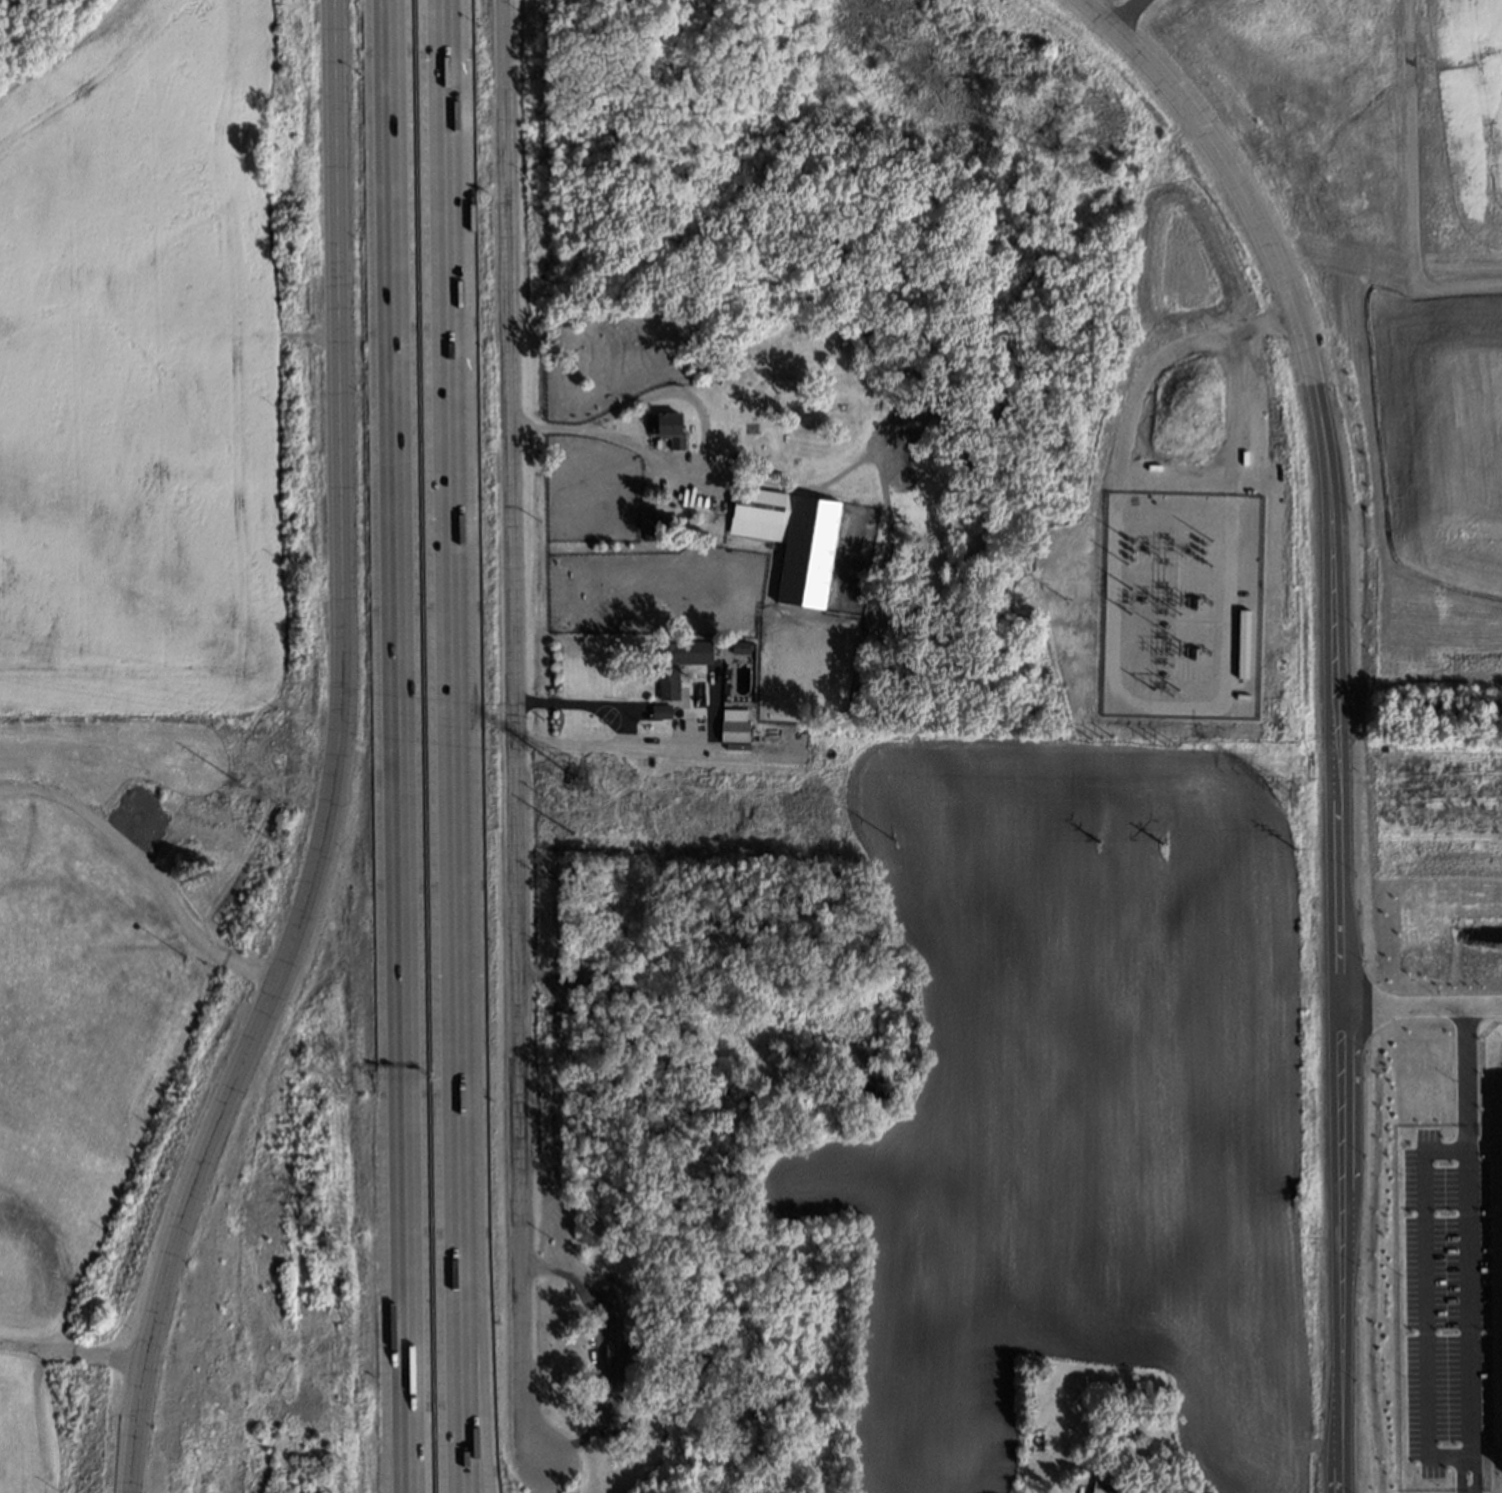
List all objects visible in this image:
building: (708, 374)
building: (668, 429)
road: (690, 456)
building: (732, 459)
building: (653, 521)
building: (791, 541)
building: (739, 648)
building: (676, 664)
road: (1330, 710)
building: (660, 713)
building: (733, 726)
road: (623, 730)
road: (516, 736)
road: (397, 746)
road: (457, 746)
road: (682, 748)
road: (335, 763)
power tower: (581, 793)
power tower: (1293, 804)
power tower: (570, 833)
road: (150, 866)
building: (585, 986)
road: (1418, 1001)
road: (673, 1007)
building: (857, 1056)
building: (870, 1084)
crop: (1083, 1107)
road: (1468, 1247)
building: (617, 1339)
road: (71, 1352)
road: (598, 1352)
road: (481, 1387)
road: (38, 1419)
parking lot: (11, 1427)
building: (1107, 1488)

